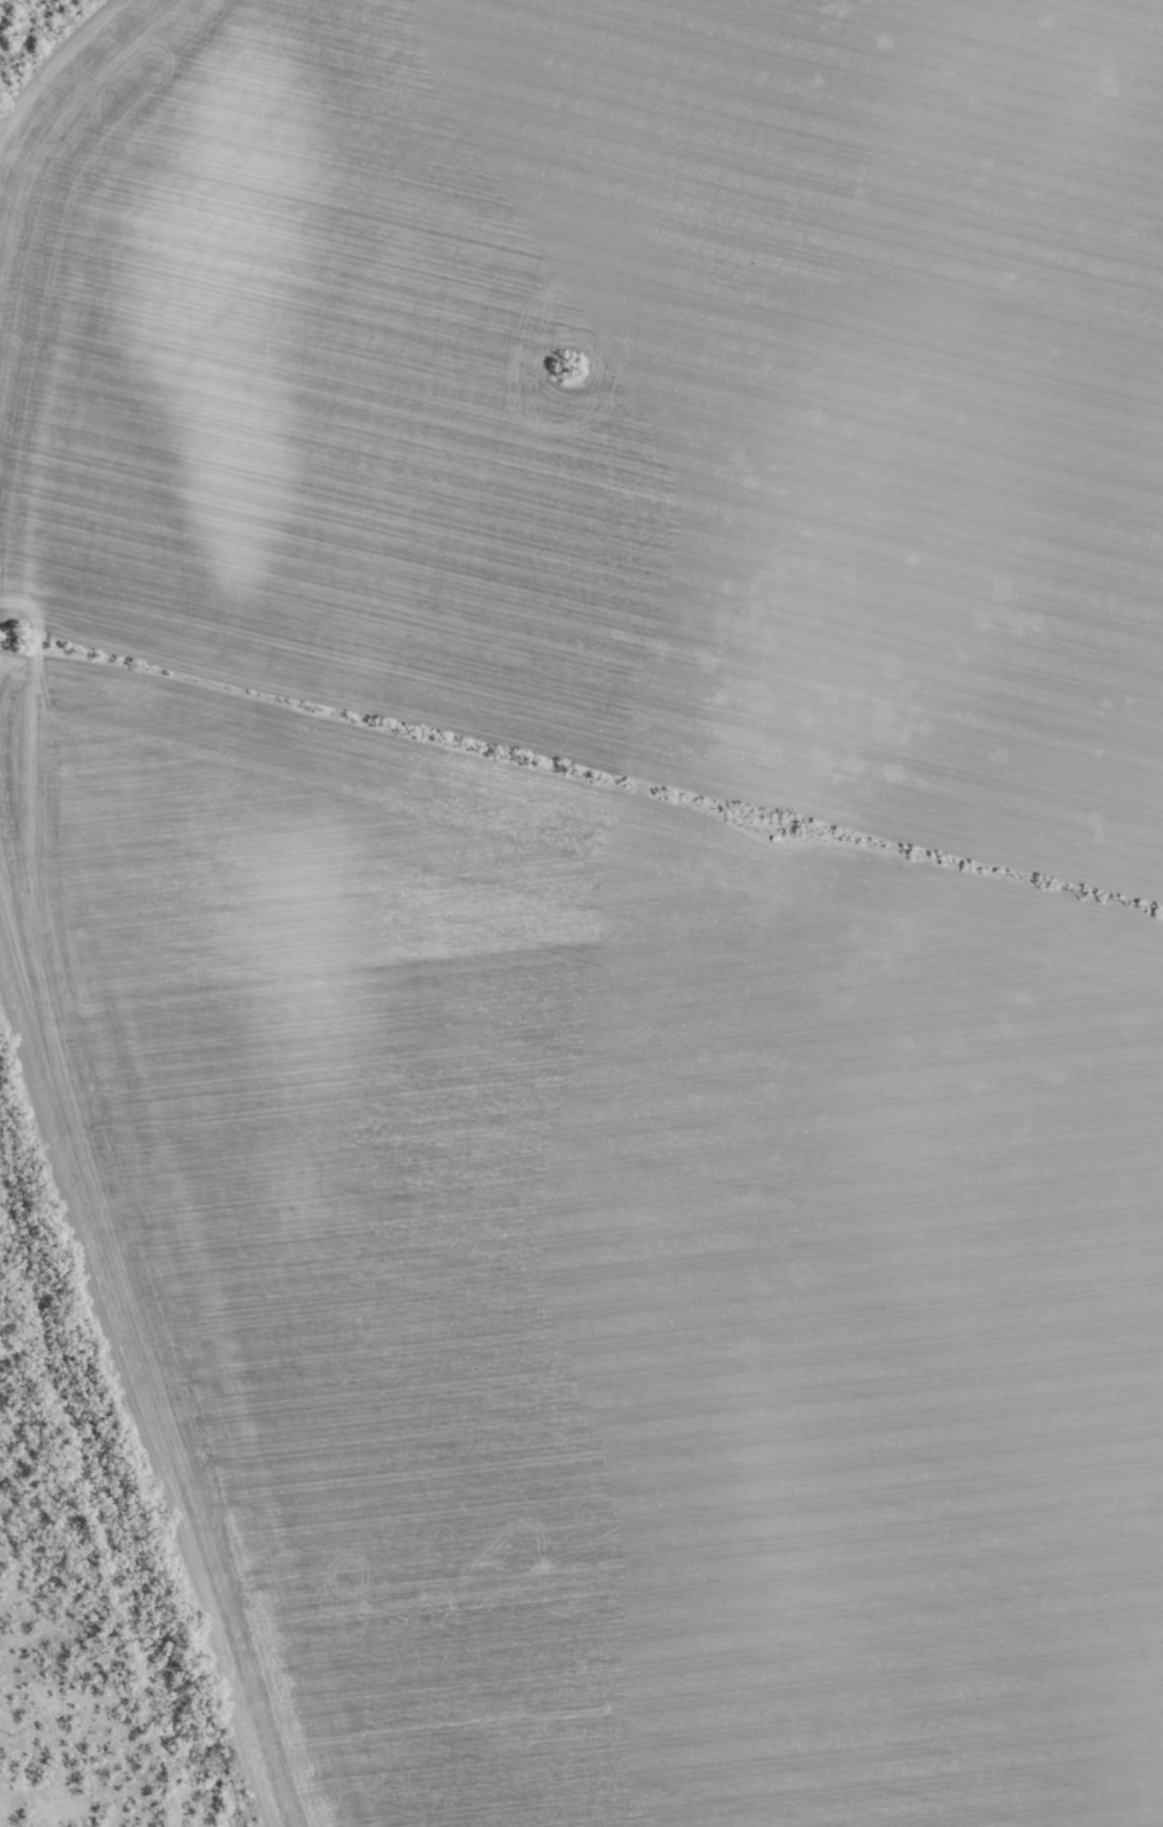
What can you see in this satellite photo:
road: (88, 69)
road: (1, 1809)

